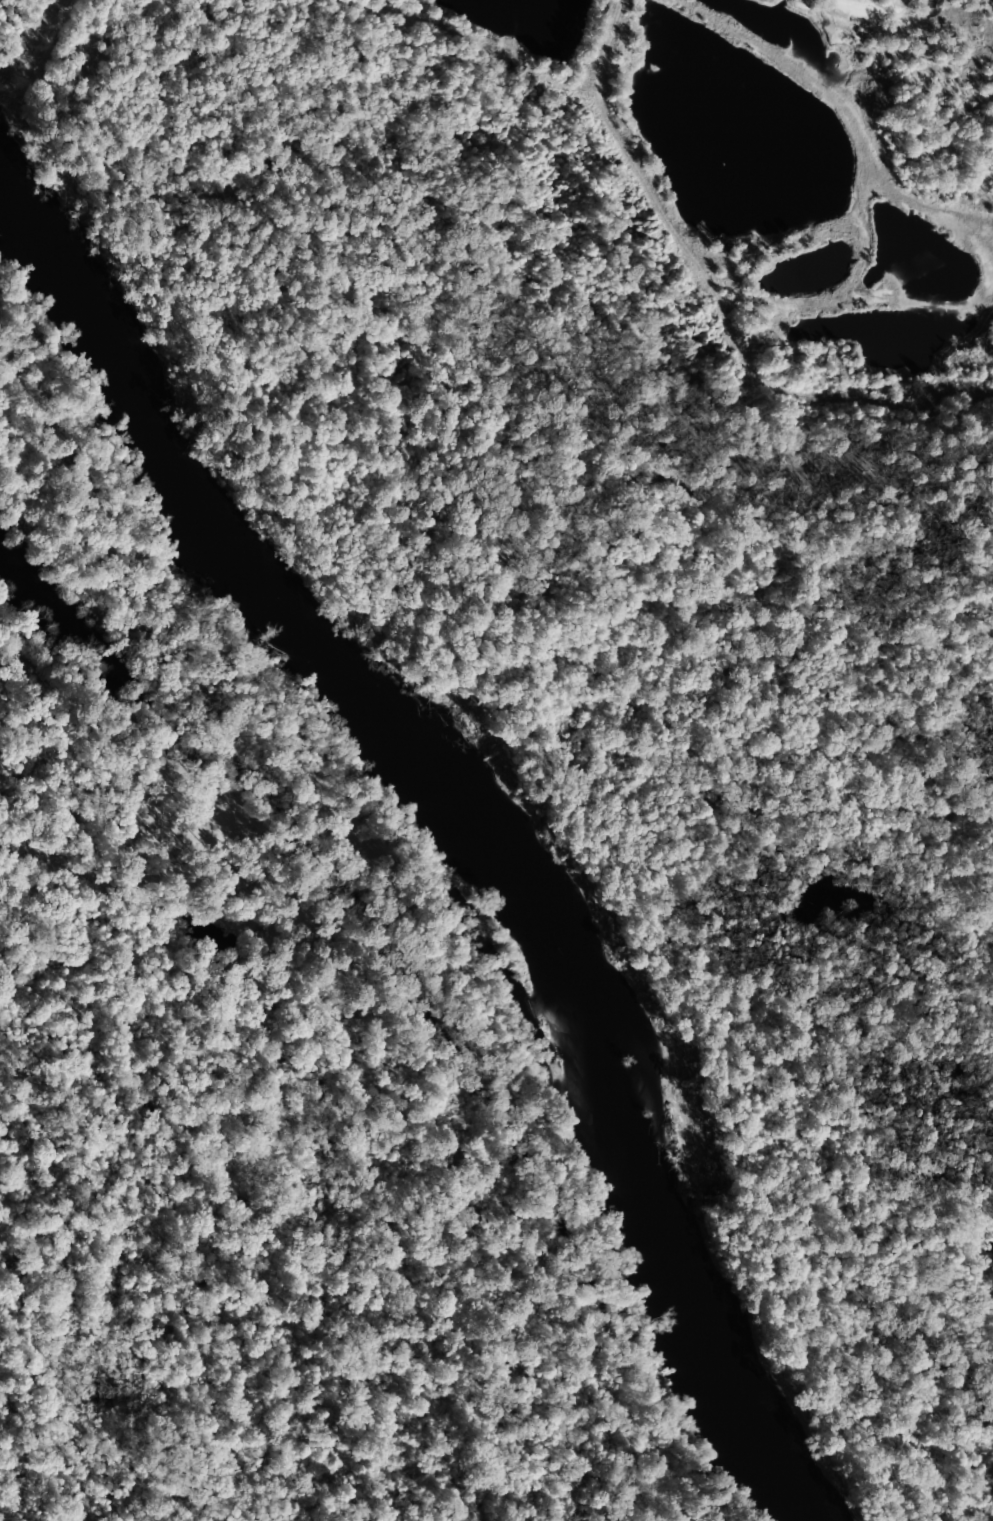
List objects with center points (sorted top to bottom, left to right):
road: (385, 10)
road: (34, 806)

